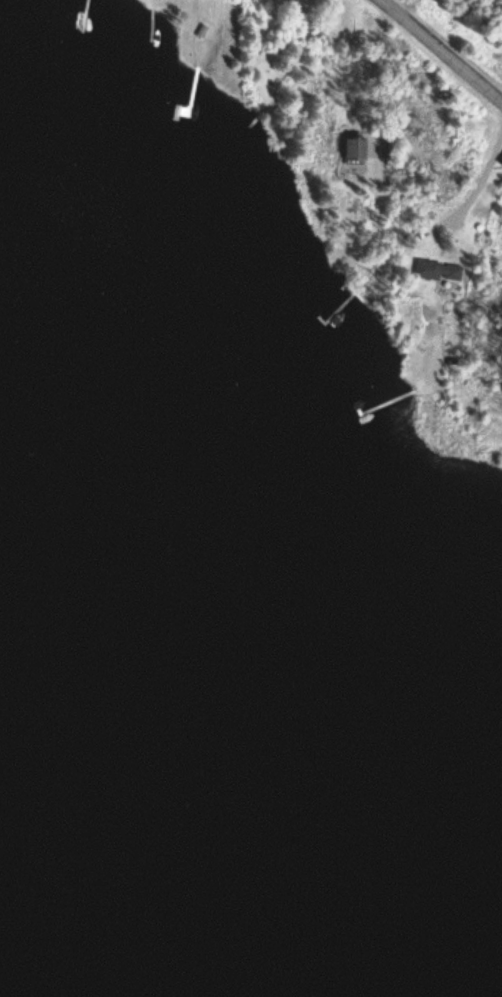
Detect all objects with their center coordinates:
road: (413, 16)
road: (436, 53)
building: (357, 150)
building: (500, 163)
building: (439, 270)

